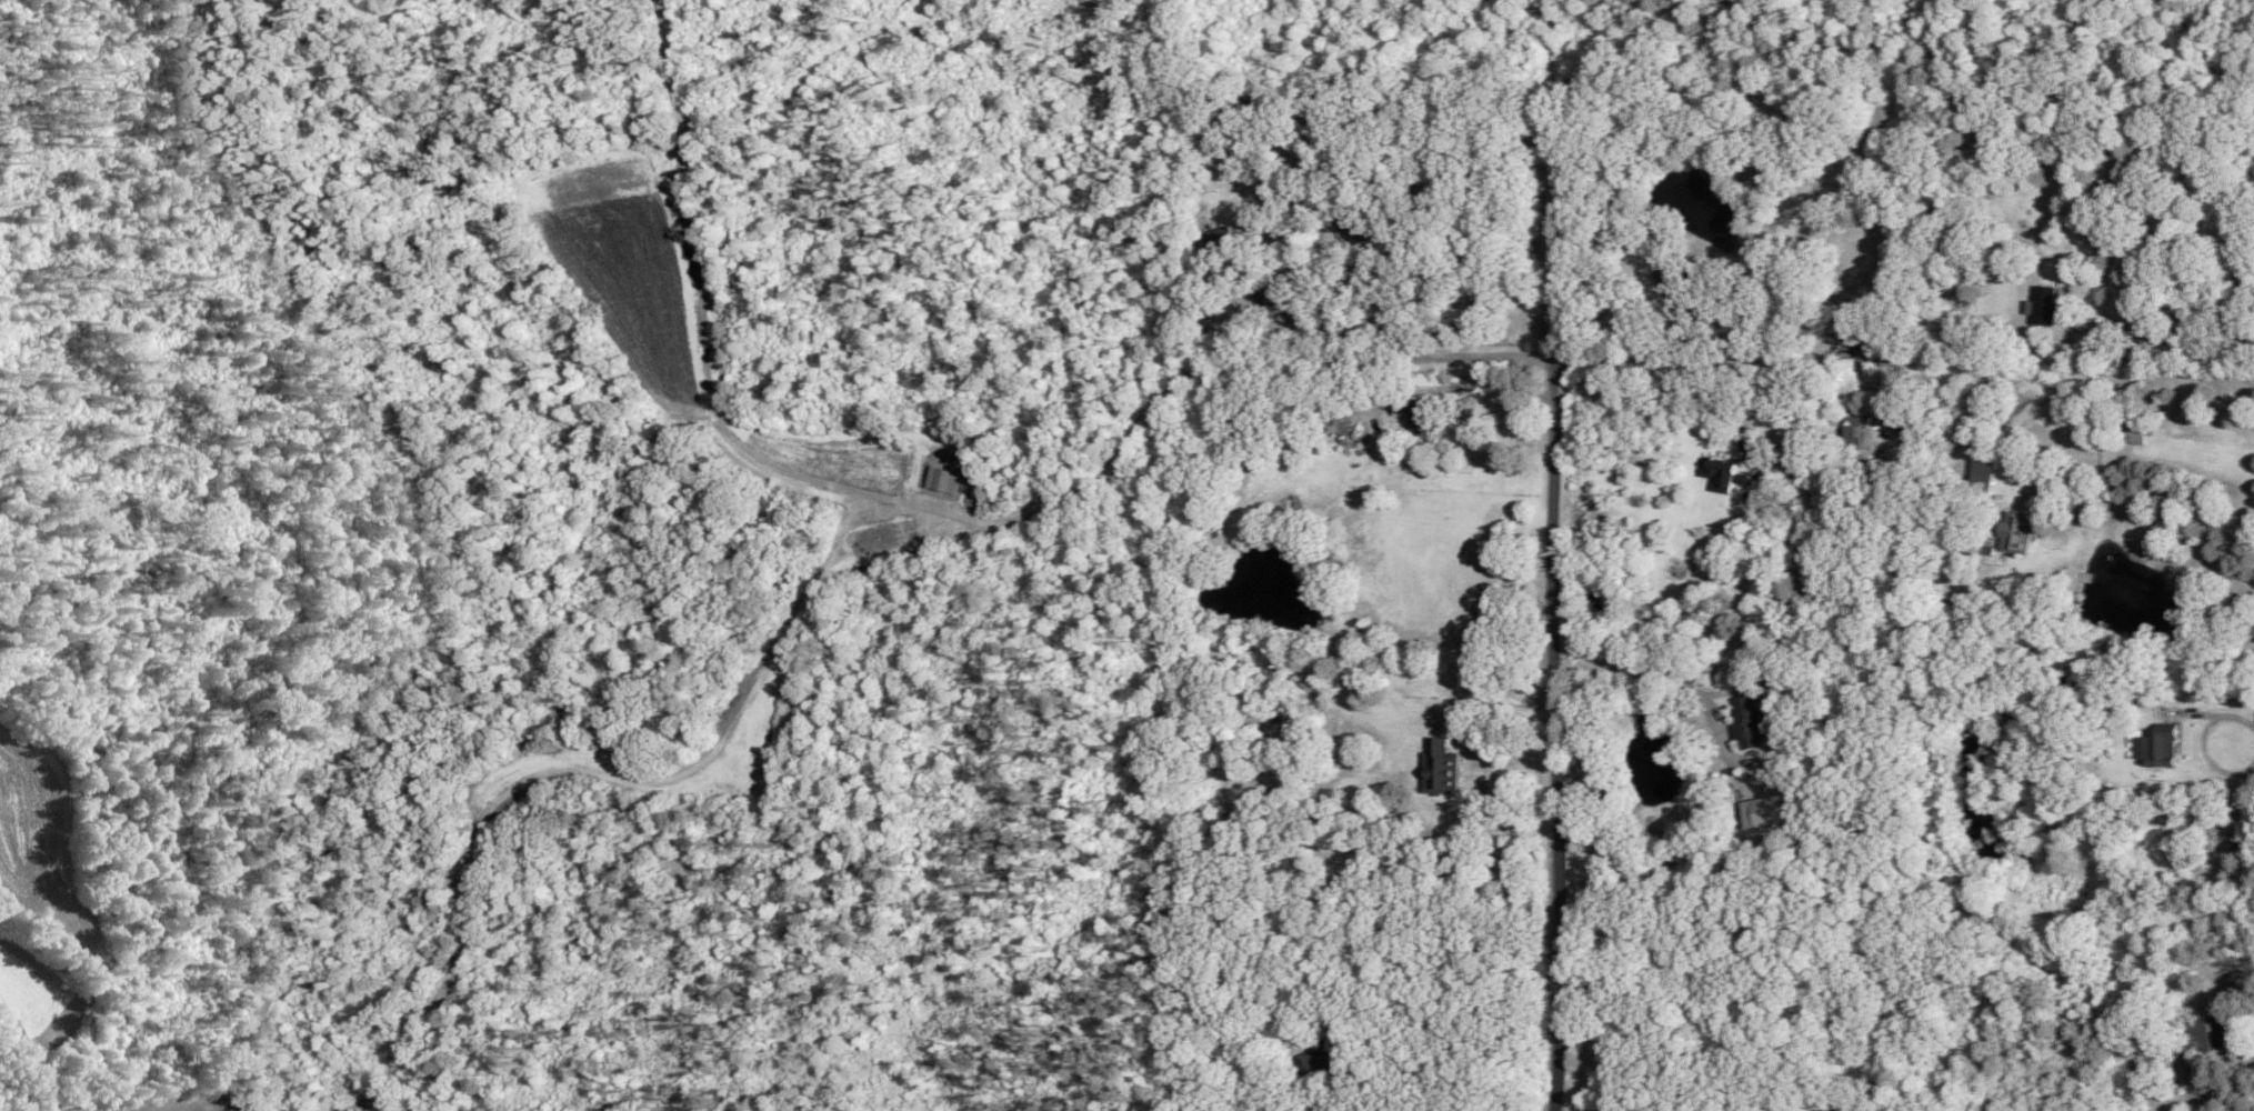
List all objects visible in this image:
road: (1547, 39)
building: (1356, 231)
building: (1220, 238)
building: (1268, 296)
building: (2042, 303)
road: (2171, 338)
road: (1581, 358)
road: (1170, 388)
road: (1623, 390)
building: (1422, 413)
building: (2136, 432)
building: (1983, 468)
building: (1723, 472)
building: (943, 478)
road: (2151, 517)
building: (2016, 532)
road: (1554, 601)
road: (1639, 672)
road: (1495, 710)
road: (2222, 714)
building: (1746, 721)
building: (2157, 744)
building: (1441, 767)
building: (1770, 809)
building: (2201, 1035)
building: (1321, 1057)
road: (1339, 1102)

